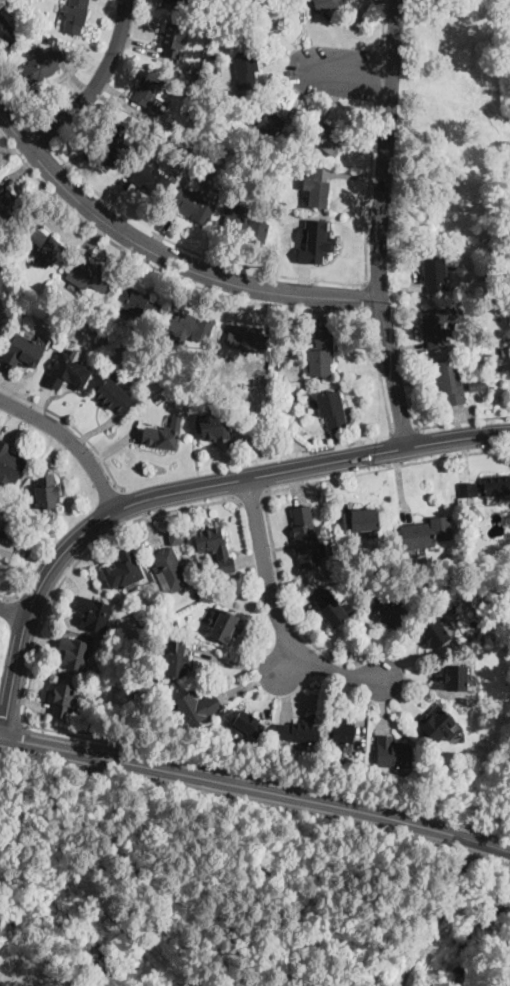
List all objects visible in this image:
building: (174, 1)
building: (326, 4)
building: (2, 5)
building: (272, 8)
road: (107, 11)
building: (75, 16)
road: (381, 23)
building: (6, 33)
building: (173, 40)
building: (49, 41)
road: (342, 41)
road: (137, 46)
road: (290, 47)
building: (67, 52)
road: (280, 59)
building: (42, 63)
building: (246, 70)
road: (352, 74)
road: (376, 76)
road: (75, 79)
road: (95, 85)
building: (150, 89)
road: (118, 94)
road: (299, 100)
building: (219, 101)
road: (332, 102)
road: (18, 107)
road: (1, 117)
building: (264, 118)
road: (42, 138)
building: (330, 140)
building: (113, 144)
building: (185, 147)
road: (384, 148)
road: (73, 160)
road: (20, 170)
building: (274, 170)
road: (353, 176)
building: (148, 179)
building: (245, 183)
road: (115, 189)
building: (317, 193)
road: (367, 194)
building: (9, 205)
building: (193, 206)
road: (54, 208)
building: (280, 215)
building: (244, 225)
road: (163, 228)
road: (89, 235)
building: (321, 242)
building: (43, 246)
road: (191, 251)
road: (219, 253)
road: (165, 255)
road: (317, 264)
road: (139, 266)
building: (91, 273)
building: (469, 274)
building: (436, 275)
building: (455, 276)
building: (503, 283)
road: (185, 287)
road: (400, 289)
road: (217, 292)
road: (366, 299)
building: (138, 303)
road: (273, 310)
road: (322, 312)
building: (80, 318)
building: (439, 325)
building: (189, 328)
building: (249, 339)
road: (411, 349)
building: (505, 350)
building: (23, 351)
building: (321, 356)
building: (278, 364)
road: (3, 370)
building: (67, 372)
road: (393, 373)
building: (504, 376)
building: (448, 383)
building: (474, 385)
building: (112, 395)
building: (293, 396)
road: (42, 402)
road: (2, 403)
building: (331, 409)
road: (463, 420)
road: (460, 422)
road: (14, 423)
road: (72, 425)
building: (212, 428)
road: (99, 429)
road: (404, 431)
building: (162, 435)
road: (72, 439)
road: (117, 445)
road: (341, 446)
road: (55, 452)
road: (464, 460)
road: (227, 462)
building: (10, 463)
road: (338, 485)
road: (297, 486)
road: (401, 486)
road: (290, 487)
building: (486, 487)
road: (180, 489)
building: (46, 491)
road: (251, 499)
road: (131, 503)
building: (360, 520)
road: (150, 522)
road: (113, 530)
building: (426, 533)
building: (175, 538)
building: (305, 538)
building: (214, 547)
building: (6, 549)
road: (78, 557)
road: (249, 561)
building: (333, 567)
road: (22, 569)
building: (169, 570)
building: (123, 571)
road: (77, 574)
building: (480, 575)
road: (8, 598)
road: (252, 601)
road: (30, 603)
building: (330, 608)
road: (13, 610)
road: (275, 610)
building: (388, 612)
building: (93, 613)
road: (300, 618)
building: (175, 622)
building: (473, 622)
building: (225, 626)
building: (434, 634)
road: (38, 636)
road: (352, 640)
building: (74, 653)
road: (417, 655)
building: (175, 660)
road: (289, 661)
road: (234, 662)
building: (455, 678)
road: (250, 686)
road: (428, 686)
road: (270, 695)
road: (287, 696)
road: (400, 696)
building: (63, 700)
road: (29, 701)
road: (383, 706)
building: (195, 709)
road: (362, 713)
road: (11, 720)
building: (435, 725)
building: (246, 726)
building: (299, 730)
building: (340, 735)
road: (1, 737)
building: (392, 753)
road: (267, 772)
road: (257, 789)

